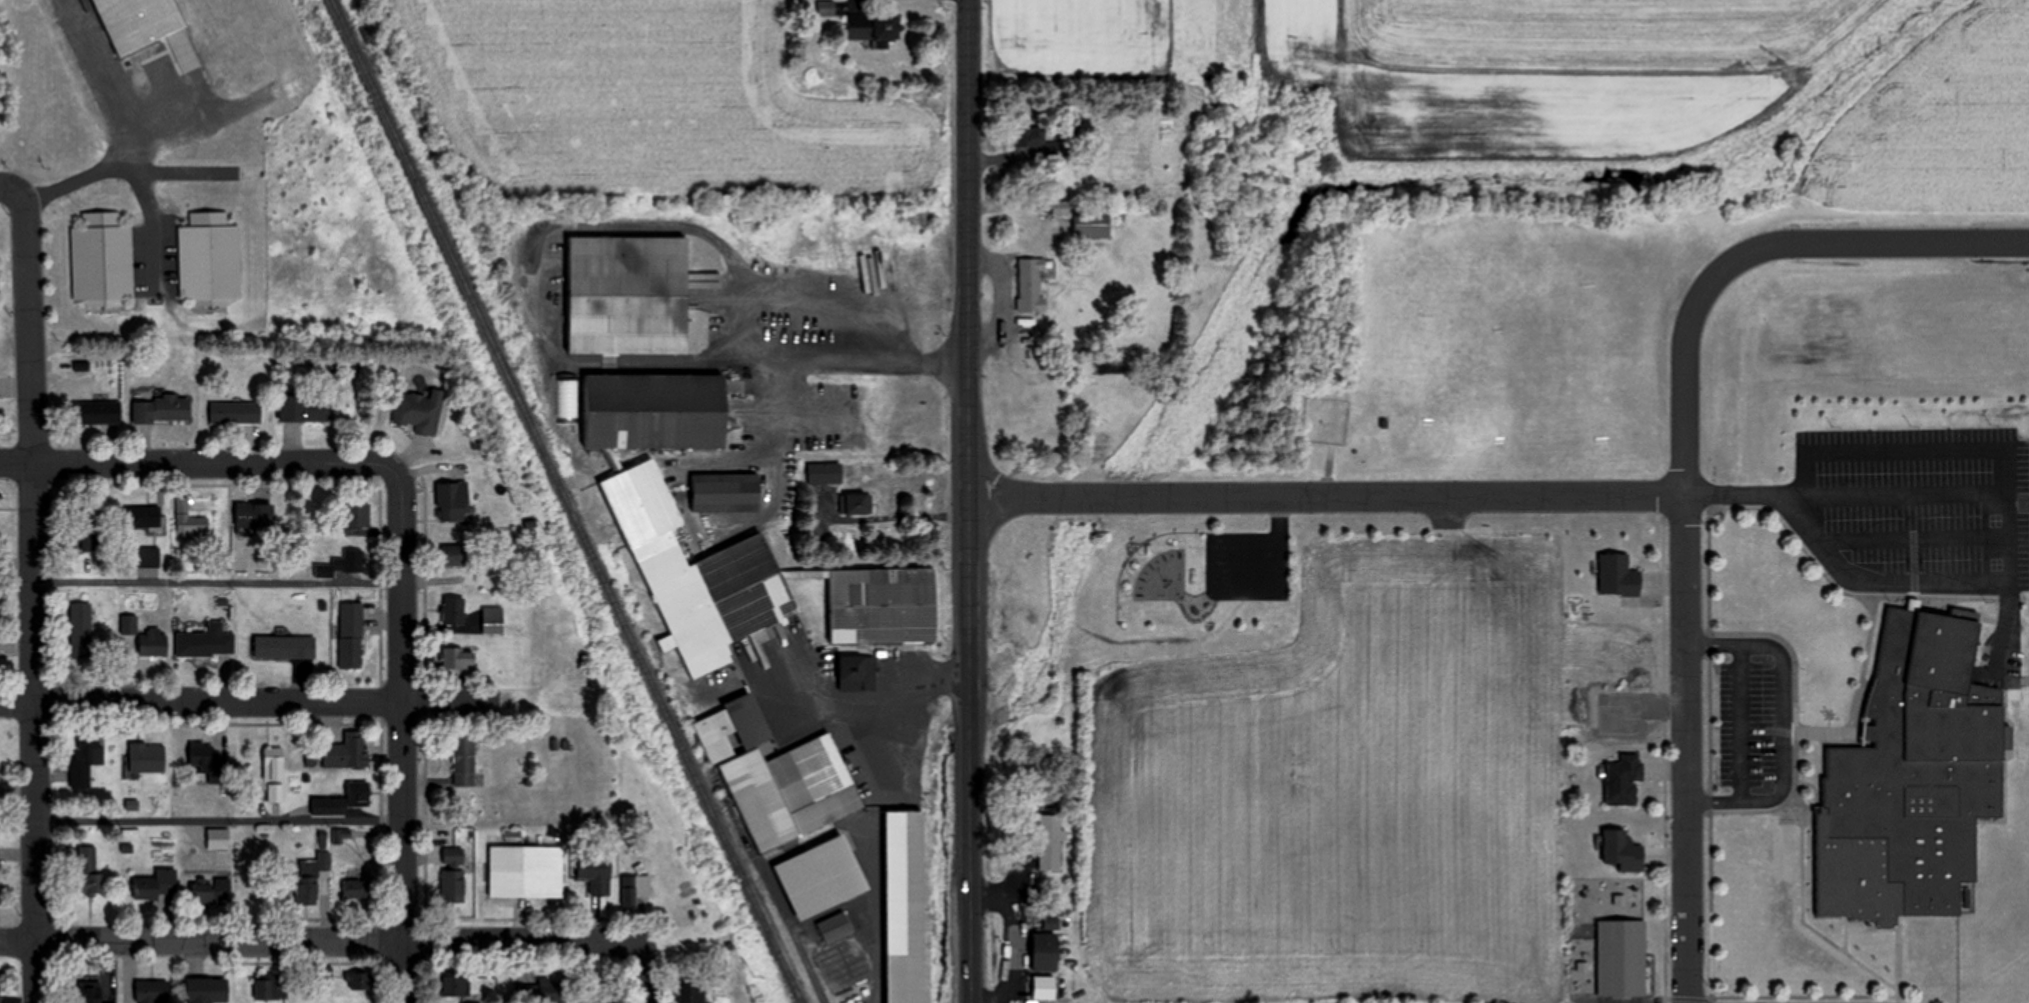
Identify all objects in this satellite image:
building: (137, 23)
building: (876, 28)
park: (4, 85)
building: (1031, 138)
road: (132, 174)
road: (969, 182)
road: (8, 187)
building: (1093, 228)
road: (1841, 240)
building: (102, 259)
building: (209, 259)
building: (903, 276)
building: (1031, 286)
building: (628, 297)
road: (844, 366)
road: (969, 395)
building: (163, 408)
building: (304, 408)
building: (96, 411)
building: (235, 412)
building: (419, 412)
building: (656, 412)
road: (969, 462)
road: (198, 463)
building: (616, 465)
building: (825, 473)
road: (997, 479)
building: (726, 492)
road: (1905, 492)
road: (1012, 498)
road: (1371, 498)
building: (452, 501)
building: (857, 503)
railway: (556, 504)
building: (255, 515)
building: (142, 516)
building: (190, 519)
building: (356, 519)
building: (80, 536)
road: (1916, 536)
building: (148, 556)
building: (453, 556)
building: (341, 564)
road: (2006, 570)
road: (970, 571)
building: (1618, 574)
building: (699, 576)
road: (217, 583)
road: (34, 595)
building: (883, 605)
building: (453, 610)
building: (493, 620)
building: (81, 630)
building: (351, 636)
building: (206, 642)
building: (153, 643)
building: (284, 647)
road: (1686, 657)
building: (458, 658)
building: (859, 673)
road: (252, 696)
road: (971, 705)
road: (1740, 719)
road: (1781, 721)
road: (401, 737)
building: (347, 752)
building: (87, 755)
building: (147, 758)
building: (206, 761)
building: (1921, 761)
building: (464, 762)
building: (273, 765)
building: (1624, 780)
crop: (1352, 786)
building: (275, 793)
building: (359, 793)
building: (329, 805)
road: (219, 822)
building: (341, 835)
building: (1050, 842)
building: (871, 846)
building: (522, 865)
building: (88, 870)
building: (596, 873)
building: (453, 876)
building: (308, 882)
road: (971, 884)
building: (157, 886)
building: (483, 886)
building: (212, 889)
building: (356, 889)
building: (629, 896)
road: (320, 939)
building: (1045, 948)
building: (841, 953)
road: (641, 970)
building: (358, 980)
building: (456, 983)
building: (271, 986)
building: (1044, 988)
building: (207, 990)
building: (551, 991)
building: (89, 992)
building: (152, 992)
building: (690, 992)

